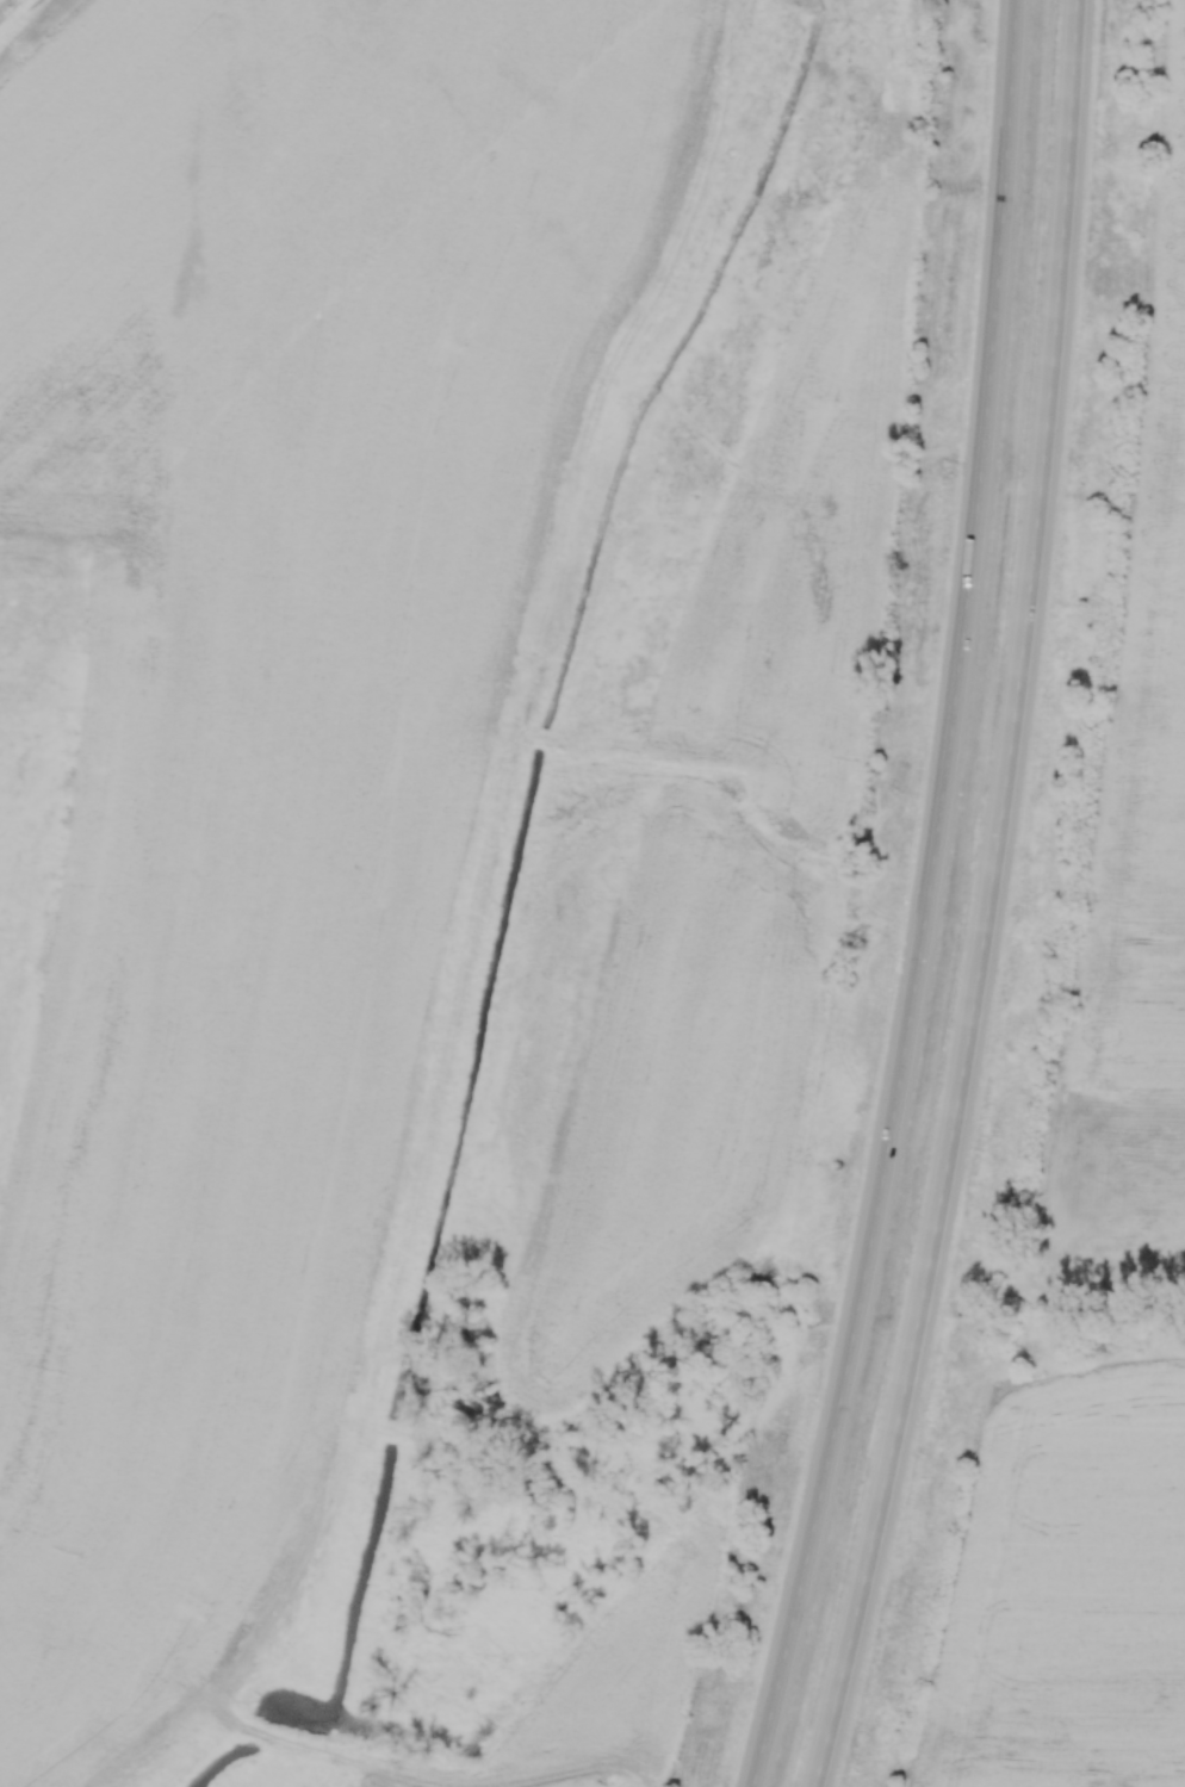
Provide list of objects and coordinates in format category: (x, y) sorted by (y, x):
road: (992, 900)
road: (933, 901)

